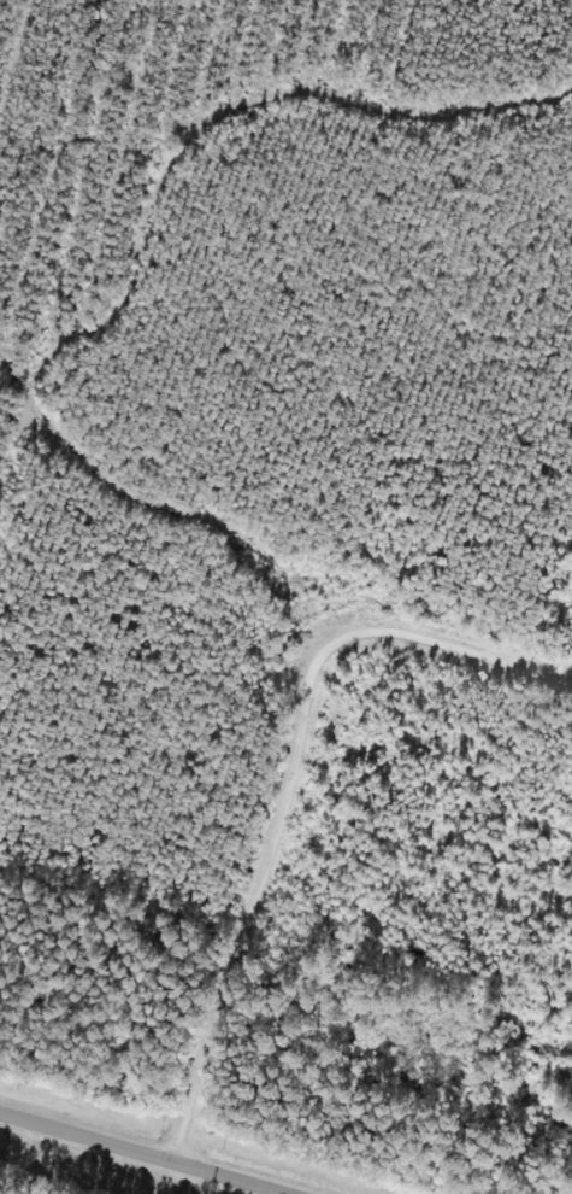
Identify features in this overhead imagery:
road: (270, 789)
road: (118, 1158)

